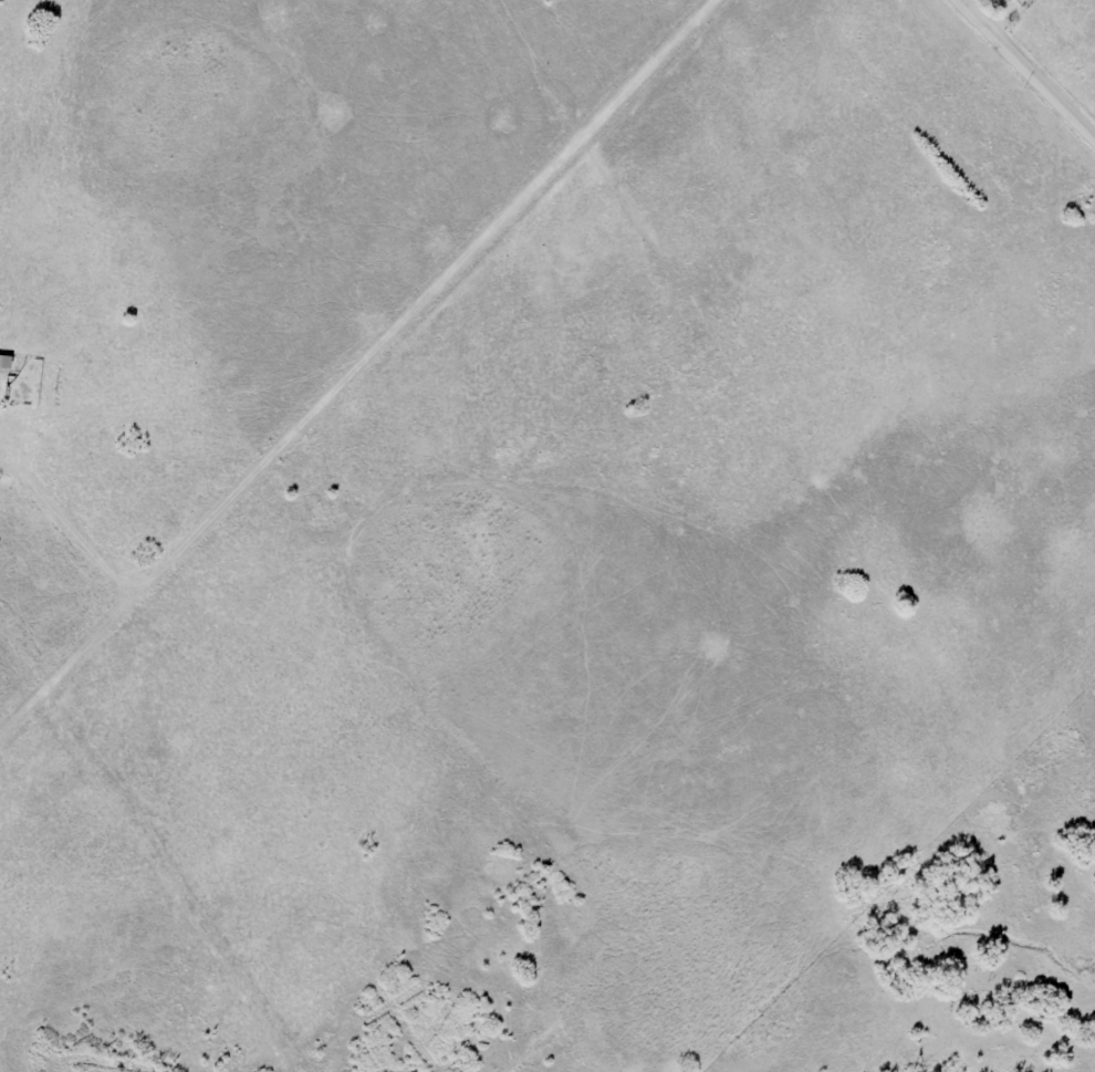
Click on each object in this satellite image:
road: (1032, 64)
building: (7, 361)

